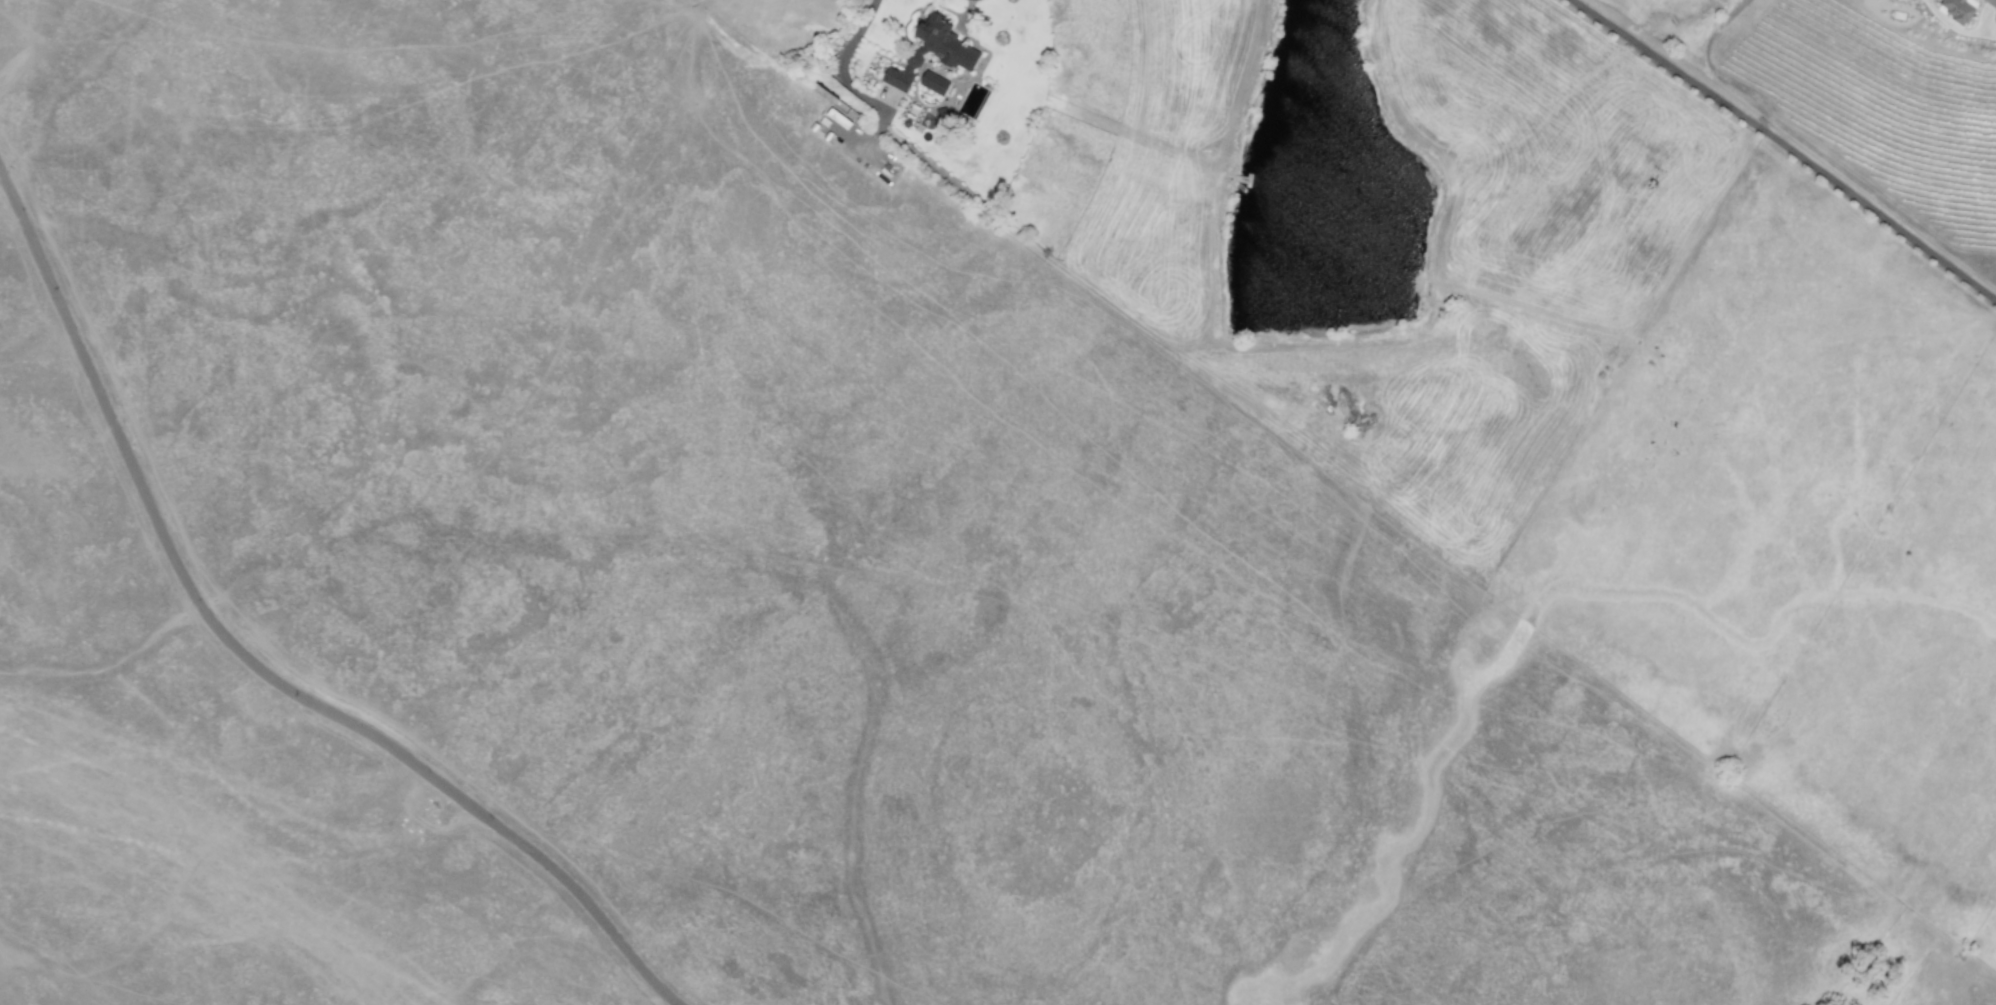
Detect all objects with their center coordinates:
road: (1935, 5)
building: (1957, 11)
building: (932, 52)
road: (1714, 71)
building: (934, 83)
building: (842, 117)
road: (1785, 152)

